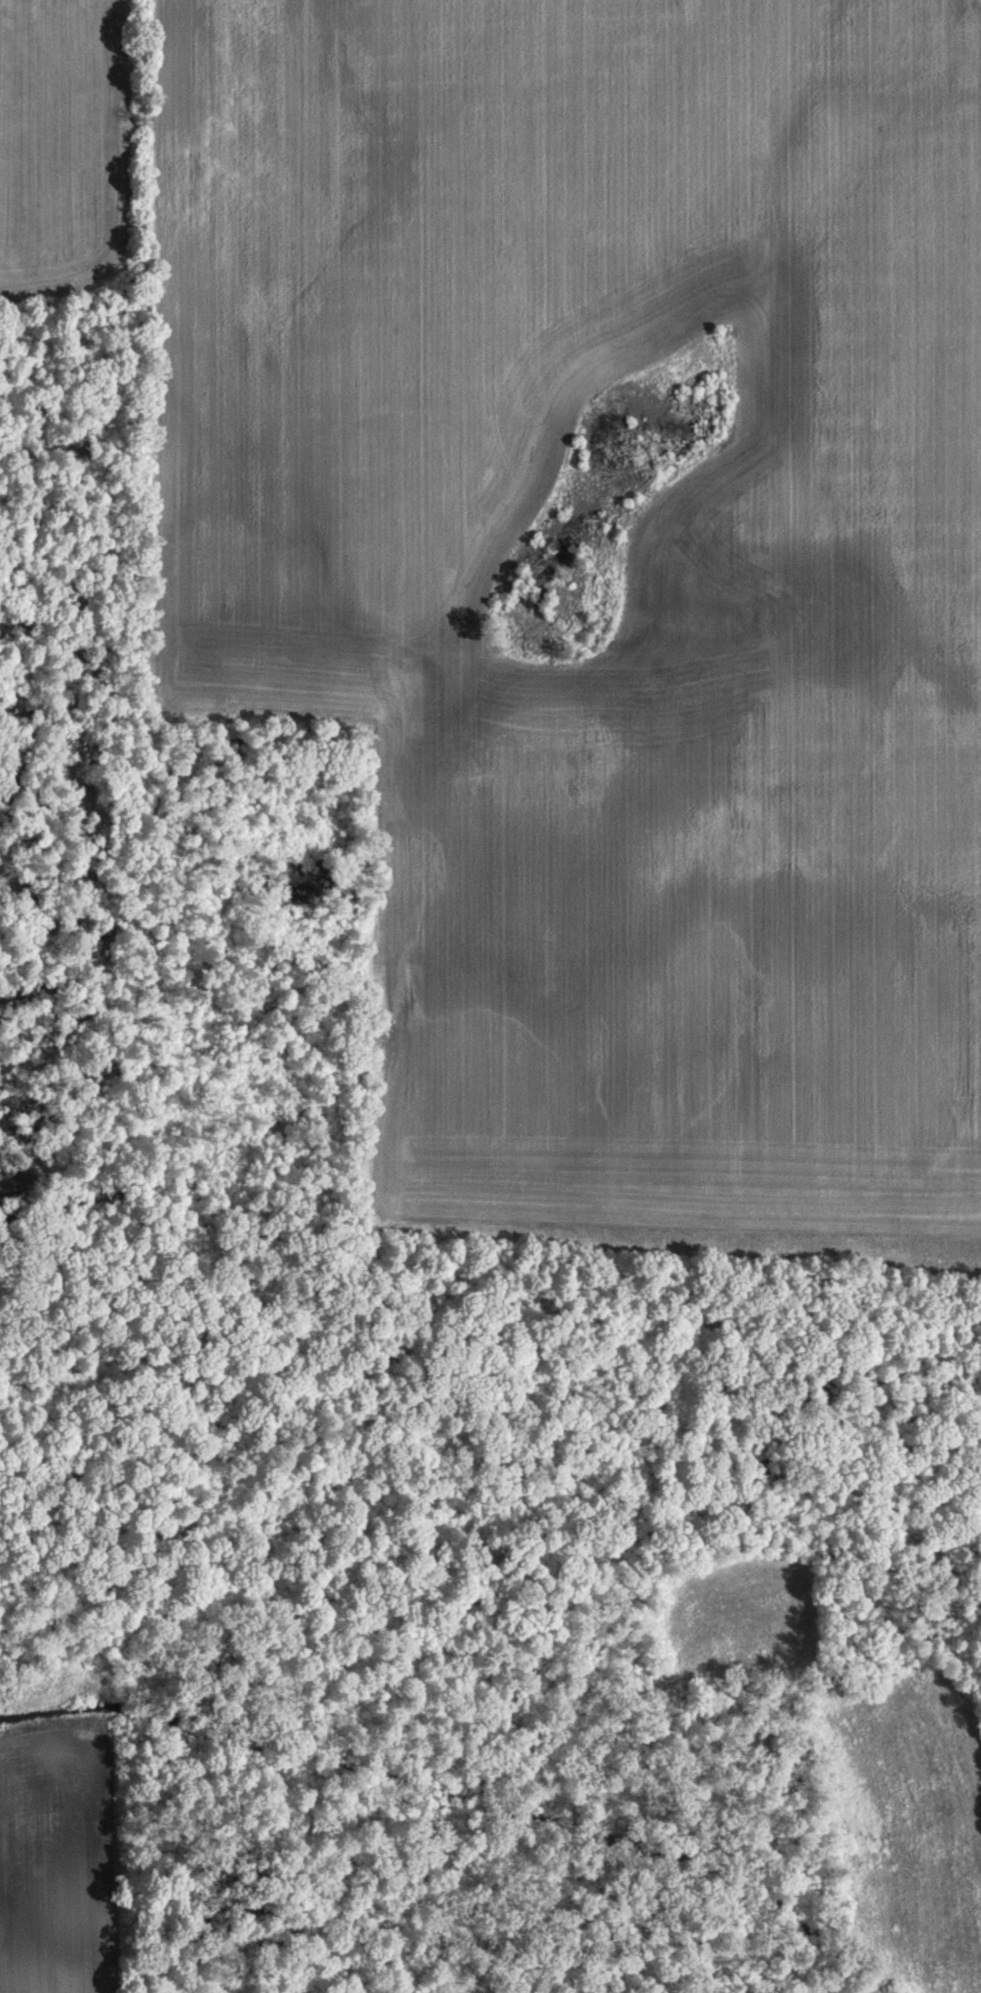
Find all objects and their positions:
crop: (824, 1987)

